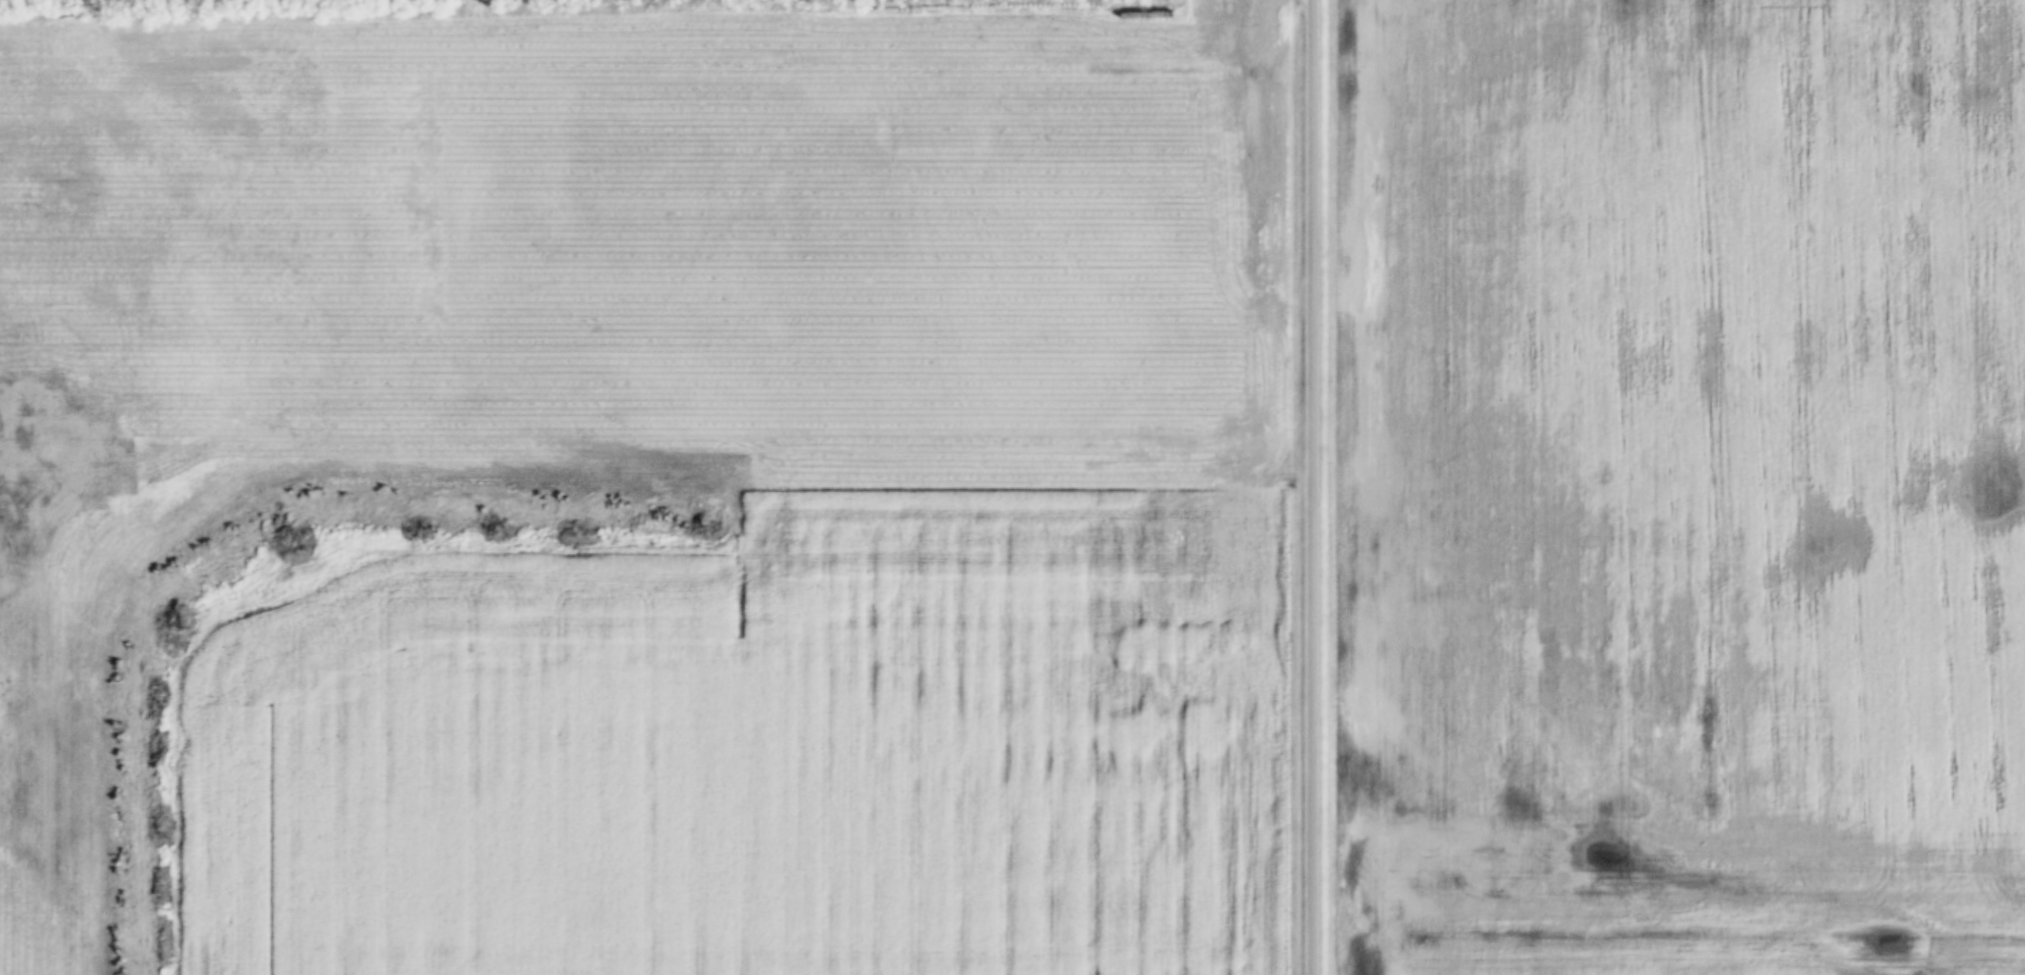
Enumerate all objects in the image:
road: (1318, 487)

